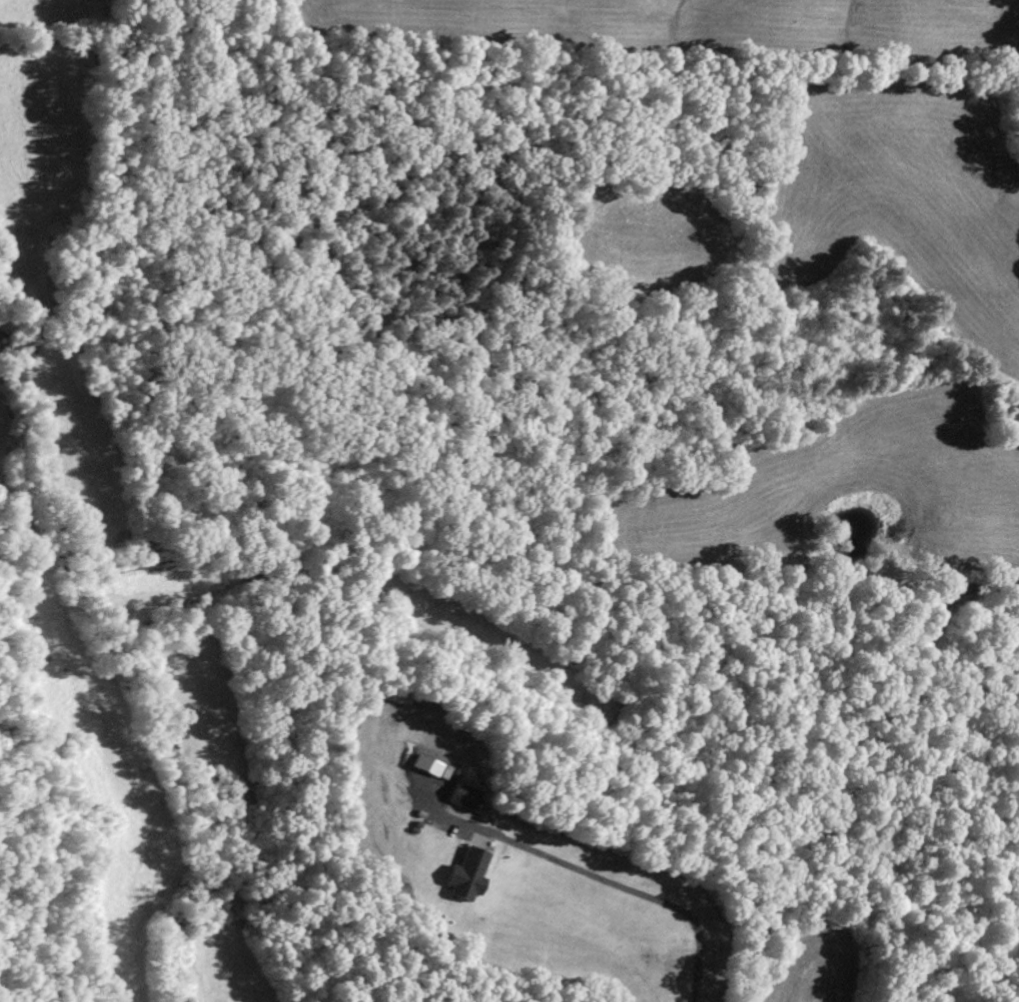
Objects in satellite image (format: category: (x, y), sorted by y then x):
road: (923, 652)
building: (427, 766)
building: (462, 797)
road: (833, 816)
building: (467, 875)

